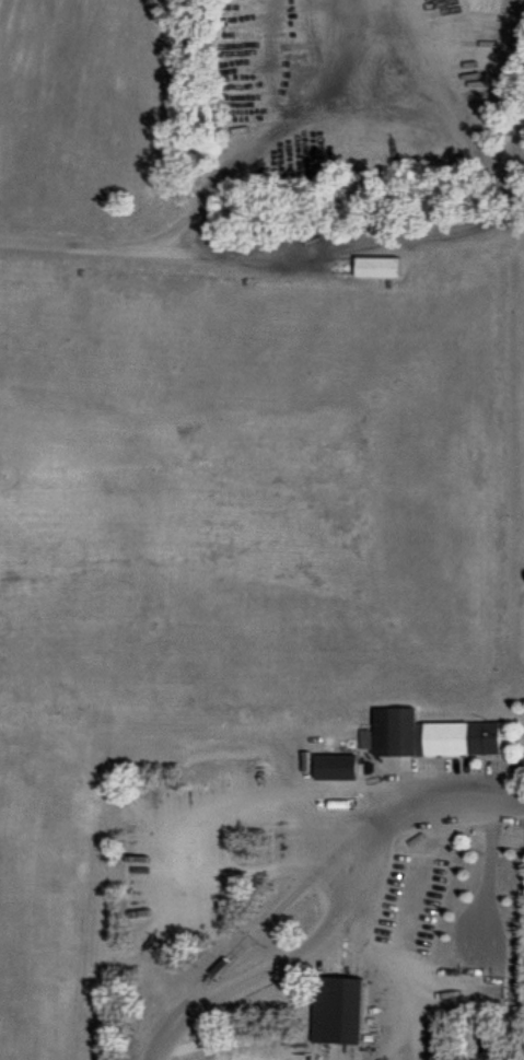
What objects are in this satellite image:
road: (488, 151)
road: (206, 185)
road: (363, 242)
road: (291, 263)
building: (375, 264)
landfill: (261, 529)
building: (427, 731)
building: (335, 761)
building: (470, 769)
parking lot: (470, 769)
road: (484, 870)
road: (315, 875)
parking lot: (407, 900)
road: (406, 904)
road: (342, 920)
road: (361, 953)
road: (228, 956)
road: (403, 988)
building: (335, 1004)
road: (164, 1024)
road: (389, 1044)
road: (412, 1045)
road: (341, 1052)

